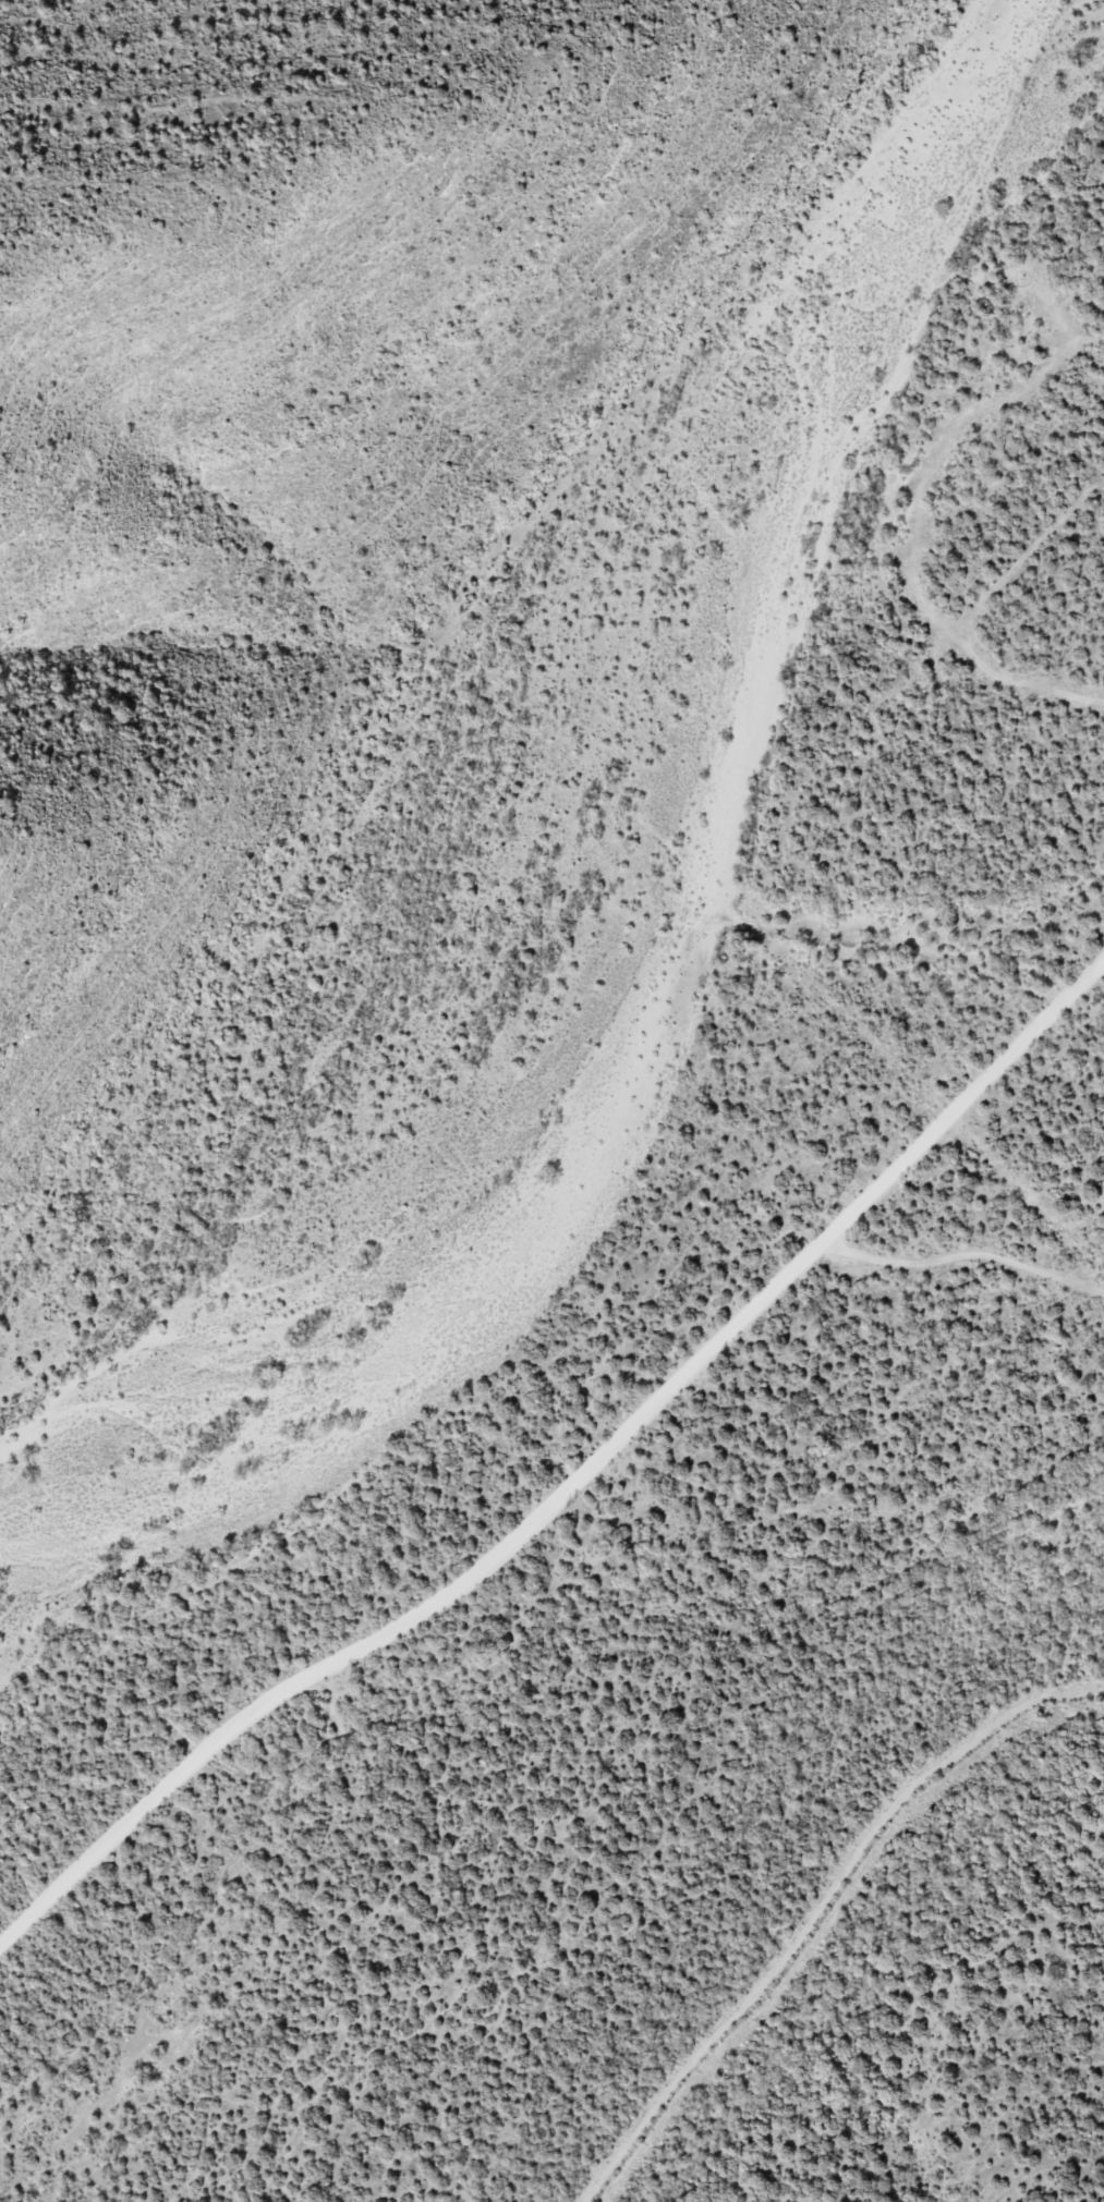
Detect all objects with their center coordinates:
river: (658, 932)
road: (969, 1261)
road: (577, 1483)

